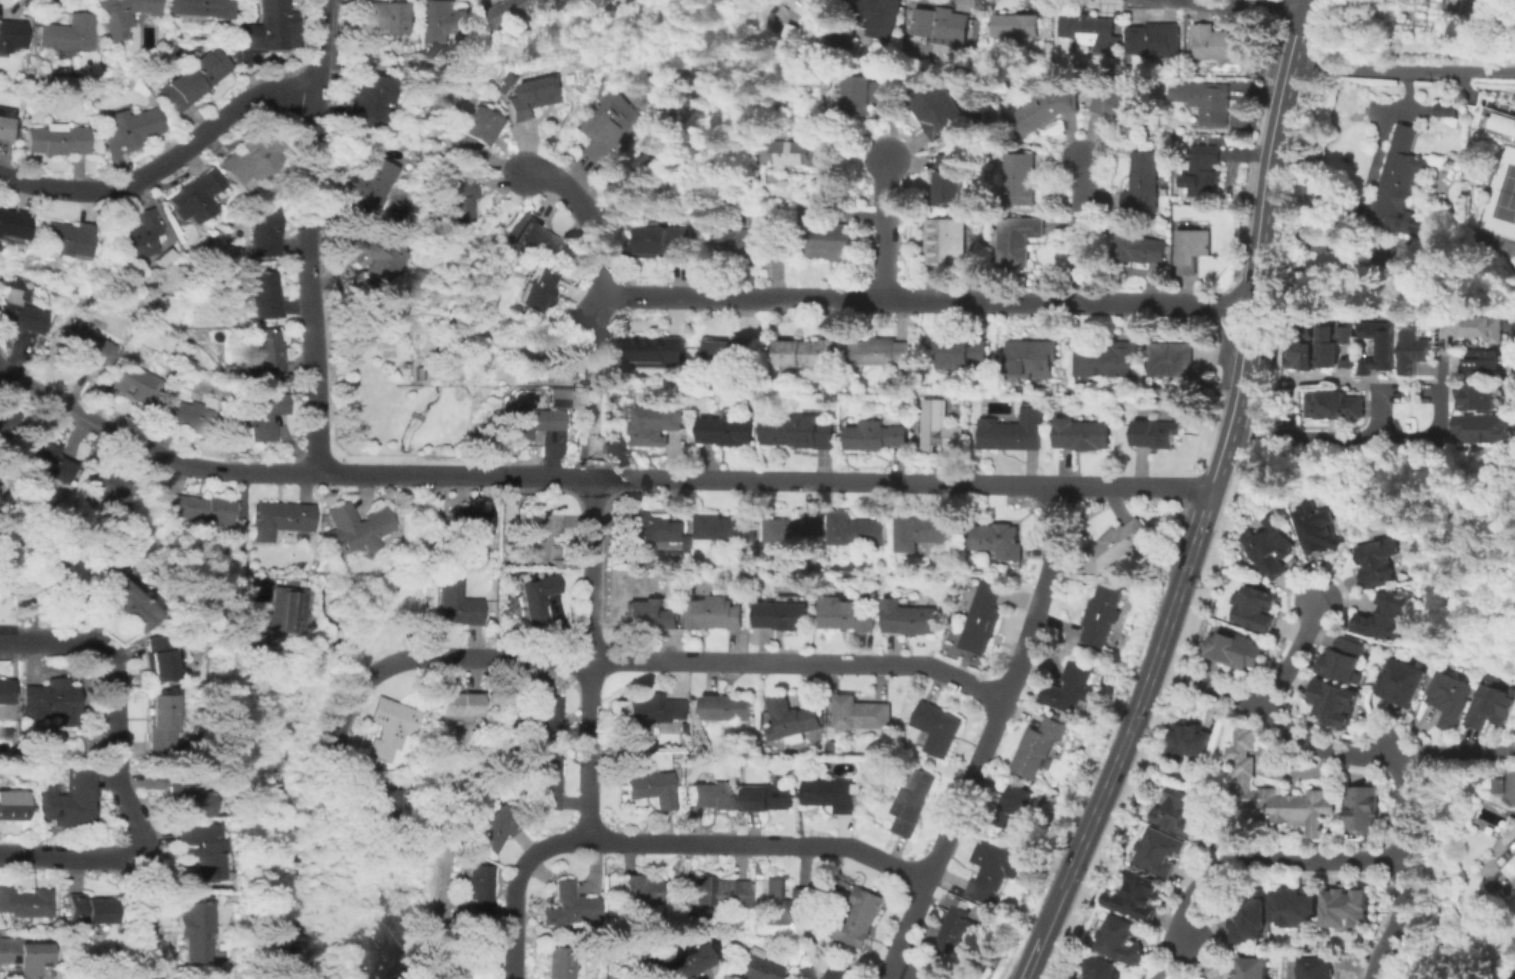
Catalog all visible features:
building: (1451, 2)
road: (1279, 4)
building: (810, 6)
building: (200, 8)
building: (519, 12)
building: (122, 14)
building: (879, 16)
building: (387, 17)
building: (446, 21)
building: (943, 26)
building: (1018, 26)
building: (265, 31)
building: (1090, 32)
building: (66, 34)
building: (11, 35)
building: (409, 41)
building: (845, 41)
building: (1156, 41)
road: (317, 46)
building: (1222, 47)
road: (1402, 71)
building: (193, 78)
building: (510, 78)
road: (1484, 84)
building: (866, 95)
building: (534, 98)
building: (367, 99)
building: (1204, 99)
building: (1118, 106)
building: (1442, 109)
building: (940, 112)
building: (1044, 112)
building: (1241, 116)
building: (1503, 118)
building: (612, 126)
building: (5, 127)
building: (127, 128)
building: (474, 133)
building: (54, 140)
building: (810, 151)
building: (250, 158)
road: (162, 159)
building: (657, 164)
building: (1204, 166)
building: (948, 179)
building: (1021, 180)
building: (372, 183)
building: (1145, 183)
road: (1360, 190)
building: (1401, 190)
building: (194, 196)
building: (460, 199)
road: (1261, 217)
building: (10, 224)
road: (888, 229)
road: (1082, 230)
building: (264, 231)
building: (132, 237)
building: (59, 239)
building: (536, 240)
building: (664, 242)
building: (752, 243)
building: (829, 244)
building: (1019, 244)
building: (944, 245)
building: (1139, 250)
building: (1196, 250)
building: (374, 260)
road: (305, 282)
building: (536, 290)
building: (264, 295)
road: (785, 299)
road: (1192, 305)
building: (29, 307)
road: (599, 314)
building: (1478, 327)
building: (88, 346)
building: (1337, 346)
building: (1381, 347)
building: (267, 352)
building: (657, 352)
building: (881, 352)
building: (962, 352)
building: (1415, 352)
building: (731, 353)
building: (811, 356)
building: (1303, 357)
building: (1032, 359)
building: (1108, 360)
building: (1171, 361)
building: (1485, 364)
building: (133, 382)
road: (1377, 384)
building: (772, 386)
building: (1288, 387)
building: (1477, 397)
building: (563, 398)
building: (626, 399)
building: (1335, 406)
building: (182, 415)
building: (262, 416)
building: (572, 419)
building: (530, 422)
building: (5, 423)
building: (655, 425)
building: (1483, 426)
building: (940, 428)
building: (795, 430)
building: (727, 432)
building: (1155, 434)
building: (1013, 435)
building: (1082, 435)
building: (874, 436)
road: (1357, 438)
road: (150, 452)
building: (49, 463)
road: (1219, 463)
road: (457, 473)
road: (902, 481)
building: (110, 494)
building: (200, 510)
road: (1200, 519)
building: (281, 522)
building: (467, 522)
building: (357, 528)
building: (723, 529)
building: (1316, 529)
building: (856, 530)
building: (651, 531)
building: (795, 531)
building: (924, 531)
road: (240, 533)
building: (539, 536)
building: (997, 540)
building: (1270, 548)
building: (1119, 549)
building: (523, 561)
building: (1381, 563)
road: (592, 569)
building: (50, 574)
building: (627, 574)
road: (1043, 595)
building: (537, 597)
building: (679, 602)
building: (457, 605)
building: (127, 606)
building: (1256, 609)
building: (649, 615)
building: (845, 615)
building: (1103, 615)
building: (285, 616)
building: (714, 616)
building: (782, 616)
building: (983, 618)
building: (909, 619)
building: (1385, 619)
building: (1234, 650)
road: (435, 656)
road: (1297, 656)
building: (156, 658)
building: (1347, 662)
road: (800, 664)
building: (1405, 684)
building: (1070, 689)
building: (5, 692)
building: (1455, 701)
building: (50, 702)
building: (1338, 704)
building: (459, 705)
building: (1495, 706)
building: (726, 708)
building: (652, 709)
building: (861, 714)
building: (1065, 715)
building: (546, 719)
building: (791, 721)
building: (157, 726)
building: (682, 728)
building: (390, 729)
building: (937, 729)
road: (1128, 729)
road: (1296, 734)
building: (832, 746)
building: (1189, 747)
building: (1037, 748)
road: (590, 751)
road: (1455, 751)
road: (116, 768)
building: (546, 782)
building: (1498, 784)
building: (799, 786)
building: (650, 789)
building: (1278, 793)
building: (829, 795)
building: (184, 796)
building: (710, 796)
building: (768, 799)
building: (66, 801)
building: (912, 802)
building: (10, 806)
building: (1014, 807)
building: (1367, 811)
building: (1180, 814)
building: (391, 817)
building: (493, 829)
road: (946, 839)
road: (668, 843)
building: (199, 849)
building: (1158, 853)
road: (70, 856)
road: (1268, 861)
building: (1506, 864)
road: (1407, 867)
building: (996, 869)
building: (640, 889)
building: (476, 890)
building: (715, 893)
building: (228, 897)
building: (1136, 899)
building: (782, 901)
building: (24, 904)
building: (569, 906)
building: (1296, 909)
building: (87, 910)
building: (683, 910)
building: (1348, 911)
building: (622, 912)
building: (1251, 917)
building: (859, 922)
building: (684, 925)
building: (954, 931)
building: (195, 932)
building: (714, 940)
road: (1037, 940)
building: (1121, 943)
building: (977, 953)
building: (473, 955)
building: (23, 957)
building: (560, 963)
building: (682, 963)
building: (752, 966)
building: (1253, 969)
building: (1317, 969)
building: (1102, 970)
building: (837, 972)
building: (799, 978)
road: (885, 978)
road: (888, 978)

